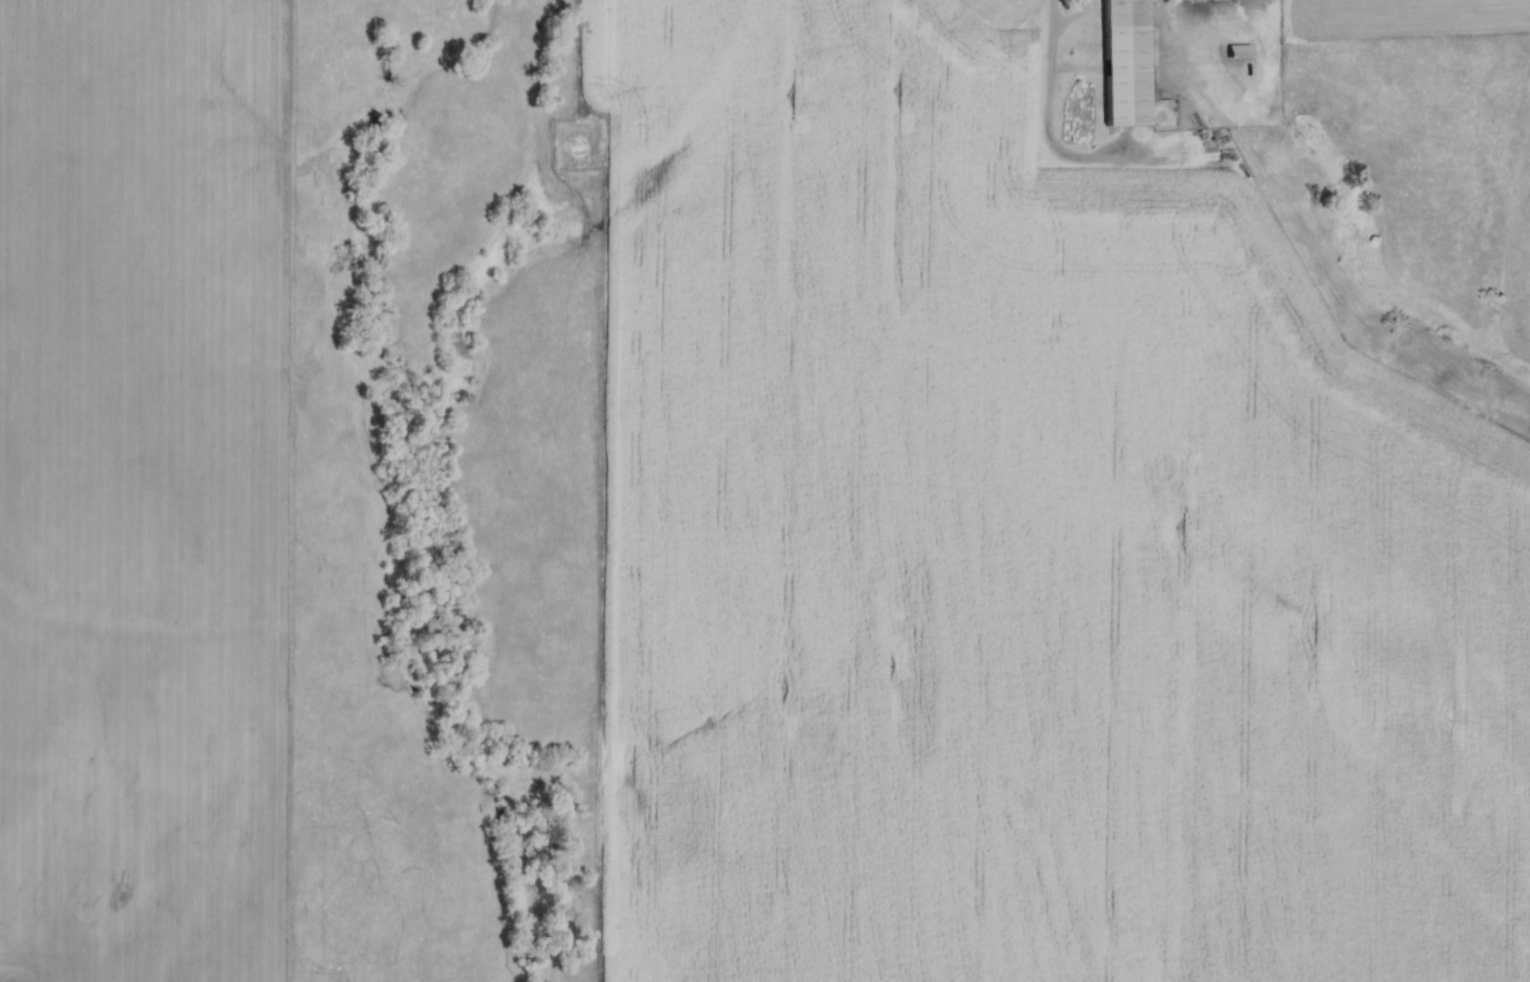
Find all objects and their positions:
building: (1237, 51)
building: (1121, 62)

